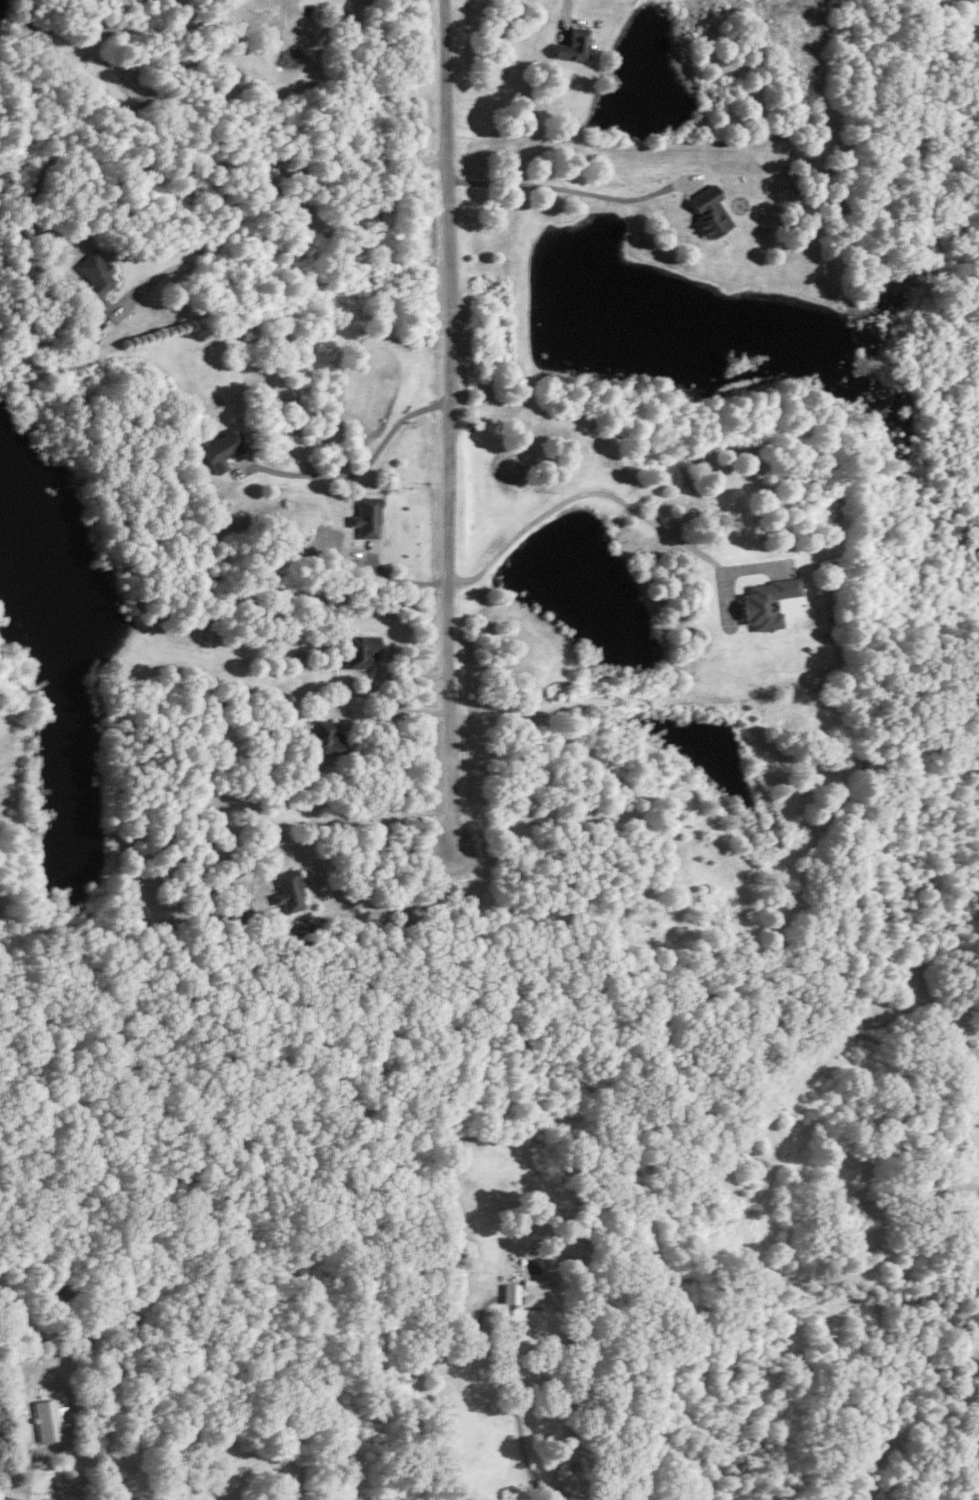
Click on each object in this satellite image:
building: (572, 44)
road: (264, 187)
road: (562, 188)
building: (708, 211)
building: (94, 272)
road: (445, 422)
building: (223, 448)
road: (357, 469)
road: (585, 489)
building: (367, 517)
building: (766, 602)
building: (359, 649)
road: (397, 712)
building: (324, 737)
building: (289, 891)
road: (406, 909)
building: (530, 1293)
road: (490, 1299)
building: (49, 1419)
road: (518, 1434)
road: (27, 1484)

